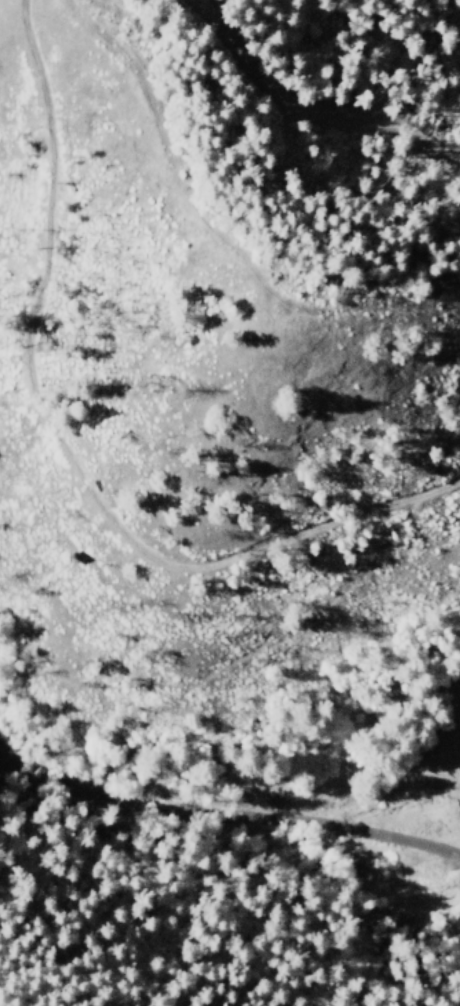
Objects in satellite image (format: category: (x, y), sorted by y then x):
road: (227, 808)

